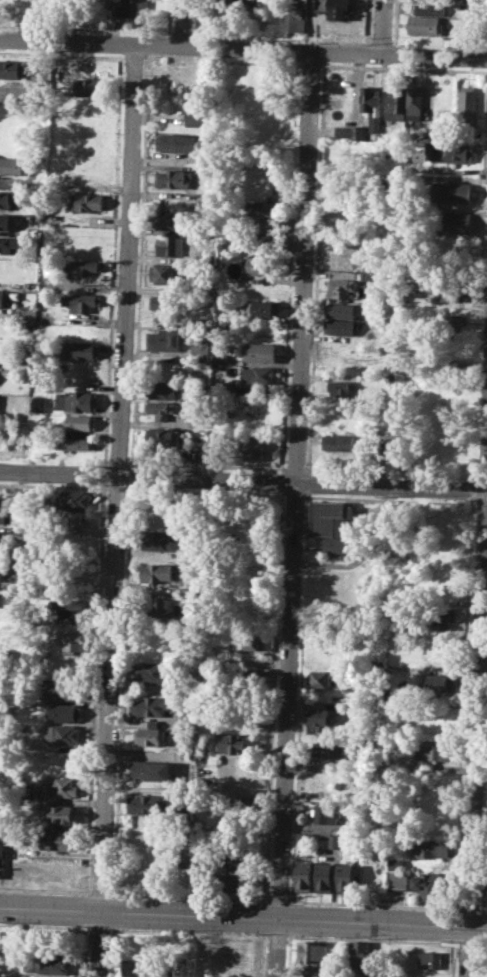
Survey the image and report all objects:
building: (20, 4)
building: (235, 7)
building: (133, 8)
building: (336, 8)
building: (428, 9)
building: (294, 18)
road: (182, 23)
building: (426, 26)
road: (384, 28)
road: (243, 50)
building: (14, 69)
building: (90, 85)
building: (415, 101)
building: (369, 102)
building: (396, 102)
building: (468, 104)
building: (198, 116)
building: (344, 131)
building: (177, 141)
building: (451, 151)
building: (12, 165)
building: (174, 178)
building: (452, 192)
building: (7, 197)
building: (85, 201)
road: (113, 201)
building: (264, 209)
building: (4, 220)
building: (167, 221)
building: (453, 221)
building: (264, 227)
building: (7, 241)
building: (172, 245)
building: (262, 265)
building: (80, 267)
building: (166, 272)
building: (340, 286)
building: (453, 291)
building: (3, 298)
building: (81, 301)
building: (164, 302)
building: (262, 308)
building: (340, 309)
building: (450, 323)
building: (339, 327)
building: (82, 331)
building: (163, 340)
building: (80, 349)
building: (199, 349)
building: (257, 352)
building: (219, 358)
building: (258, 374)
building: (223, 386)
building: (340, 387)
building: (163, 390)
building: (75, 401)
building: (38, 403)
building: (162, 409)
building: (78, 422)
building: (165, 437)
building: (336, 441)
building: (75, 443)
building: (253, 448)
road: (104, 475)
road: (243, 480)
road: (53, 486)
road: (115, 488)
building: (76, 500)
road: (118, 511)
road: (293, 515)
building: (331, 517)
building: (16, 529)
building: (161, 540)
building: (336, 546)
building: (157, 572)
building: (442, 582)
building: (162, 606)
building: (70, 609)
building: (442, 617)
building: (70, 640)
building: (248, 641)
building: (154, 672)
building: (244, 677)
building: (320, 679)
building: (440, 683)
road: (94, 688)
building: (65, 689)
road: (121, 689)
building: (154, 705)
building: (65, 712)
building: (319, 716)
road: (477, 724)
building: (63, 733)
building: (150, 735)
building: (229, 741)
building: (327, 749)
building: (433, 749)
building: (149, 768)
building: (63, 787)
building: (147, 804)
building: (59, 813)
building: (328, 813)
building: (304, 836)
building: (59, 839)
building: (333, 841)
building: (432, 847)
building: (2, 859)
building: (233, 861)
building: (396, 864)
building: (304, 876)
building: (325, 877)
building: (346, 878)
building: (398, 879)
building: (235, 883)
building: (486, 885)
street lamp: (111, 886)
building: (428, 886)
road: (45, 890)
road: (100, 893)
road: (189, 896)
street lamp: (288, 898)
road: (277, 901)
road: (373, 904)
street lamp: (458, 905)
road: (468, 908)
road: (482, 909)
road: (243, 917)
street lamp: (7, 923)
road: (44, 926)
street lamp: (121, 927)
road: (98, 928)
street lamp: (186, 930)
road: (187, 932)
street lamp: (260, 933)
road: (275, 935)
street lamp: (294, 935)
street lamp: (373, 938)
road: (371, 939)
street lamp: (450, 941)
road: (466, 943)
street lamp: (482, 943)
street lamp: (285, 944)
road: (482, 944)
street lamp: (475, 949)
building: (312, 951)
building: (359, 956)
building: (430, 958)
building: (49, 963)
building: (138, 967)
building: (311, 971)

